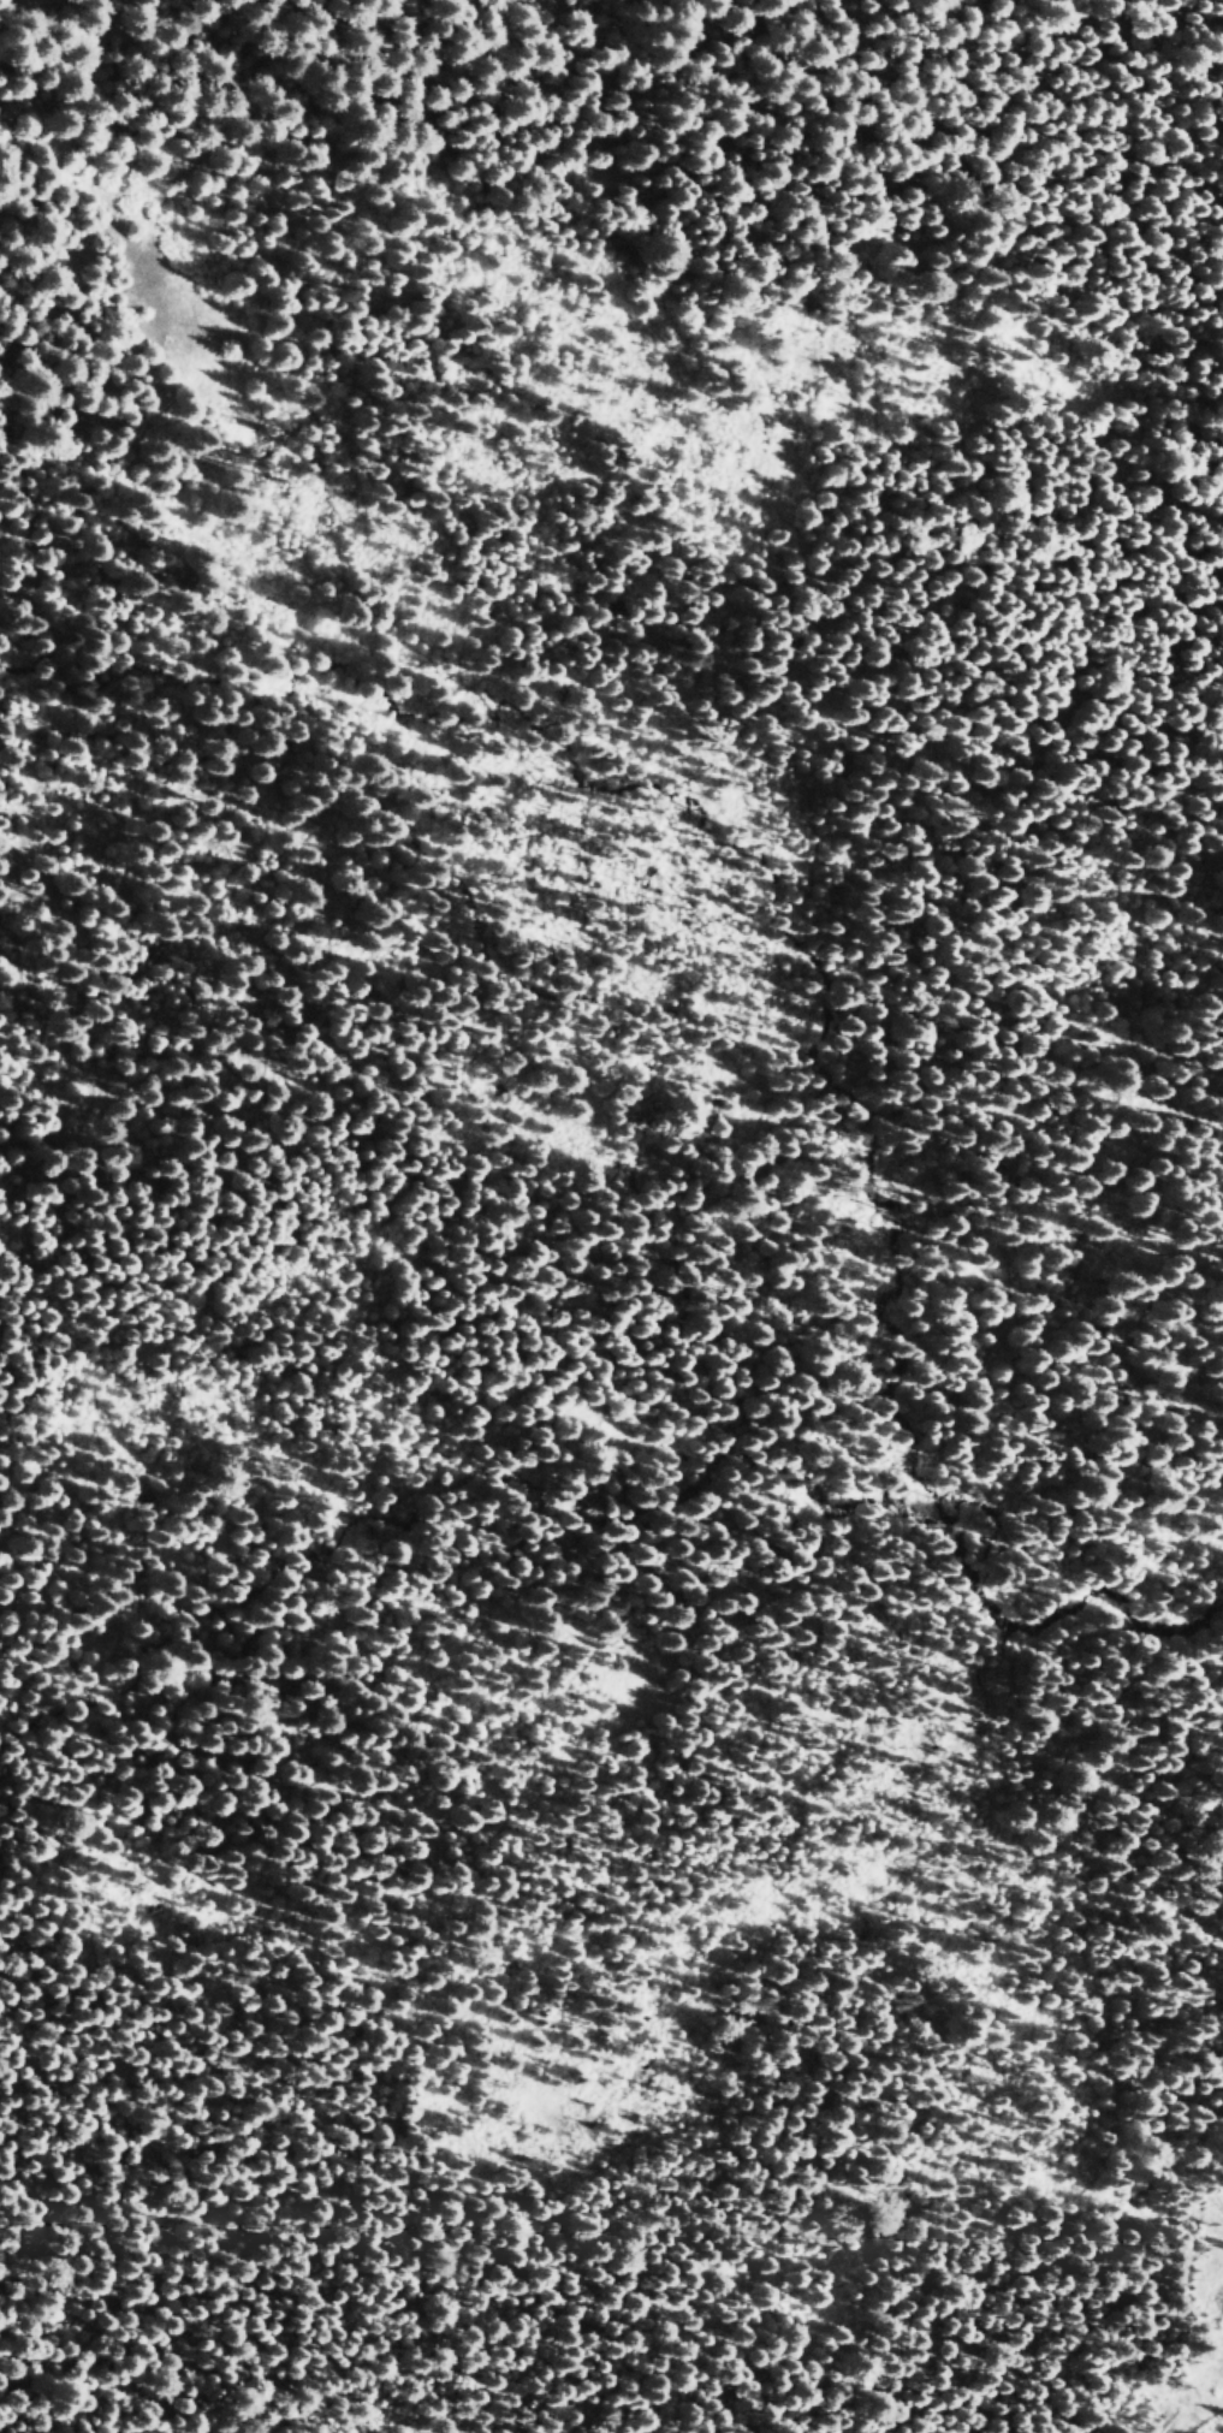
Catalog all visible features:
road: (714, 655)

